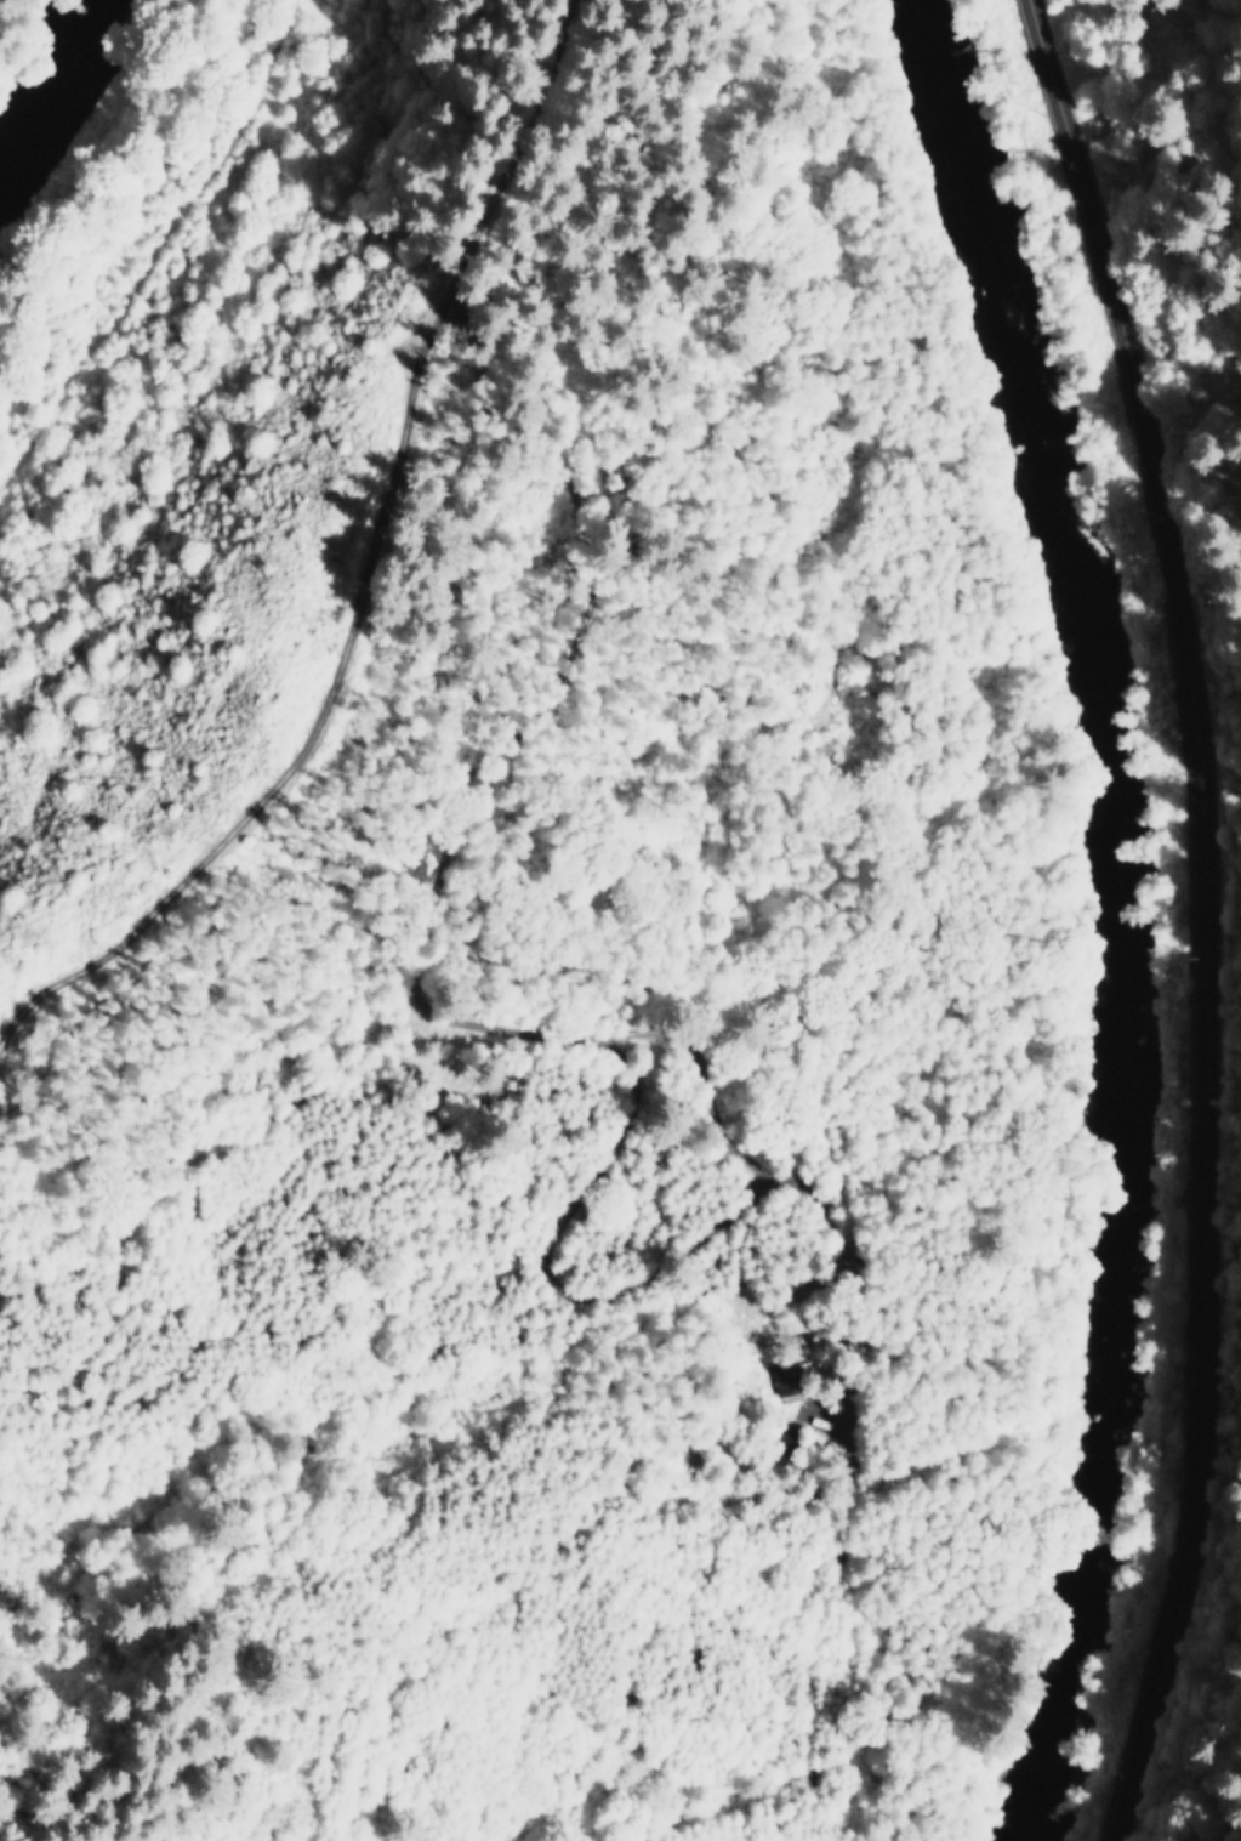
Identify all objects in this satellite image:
river: (55, 95)
road: (362, 575)
river: (1097, 913)
road: (1202, 915)
building: (776, 1380)

